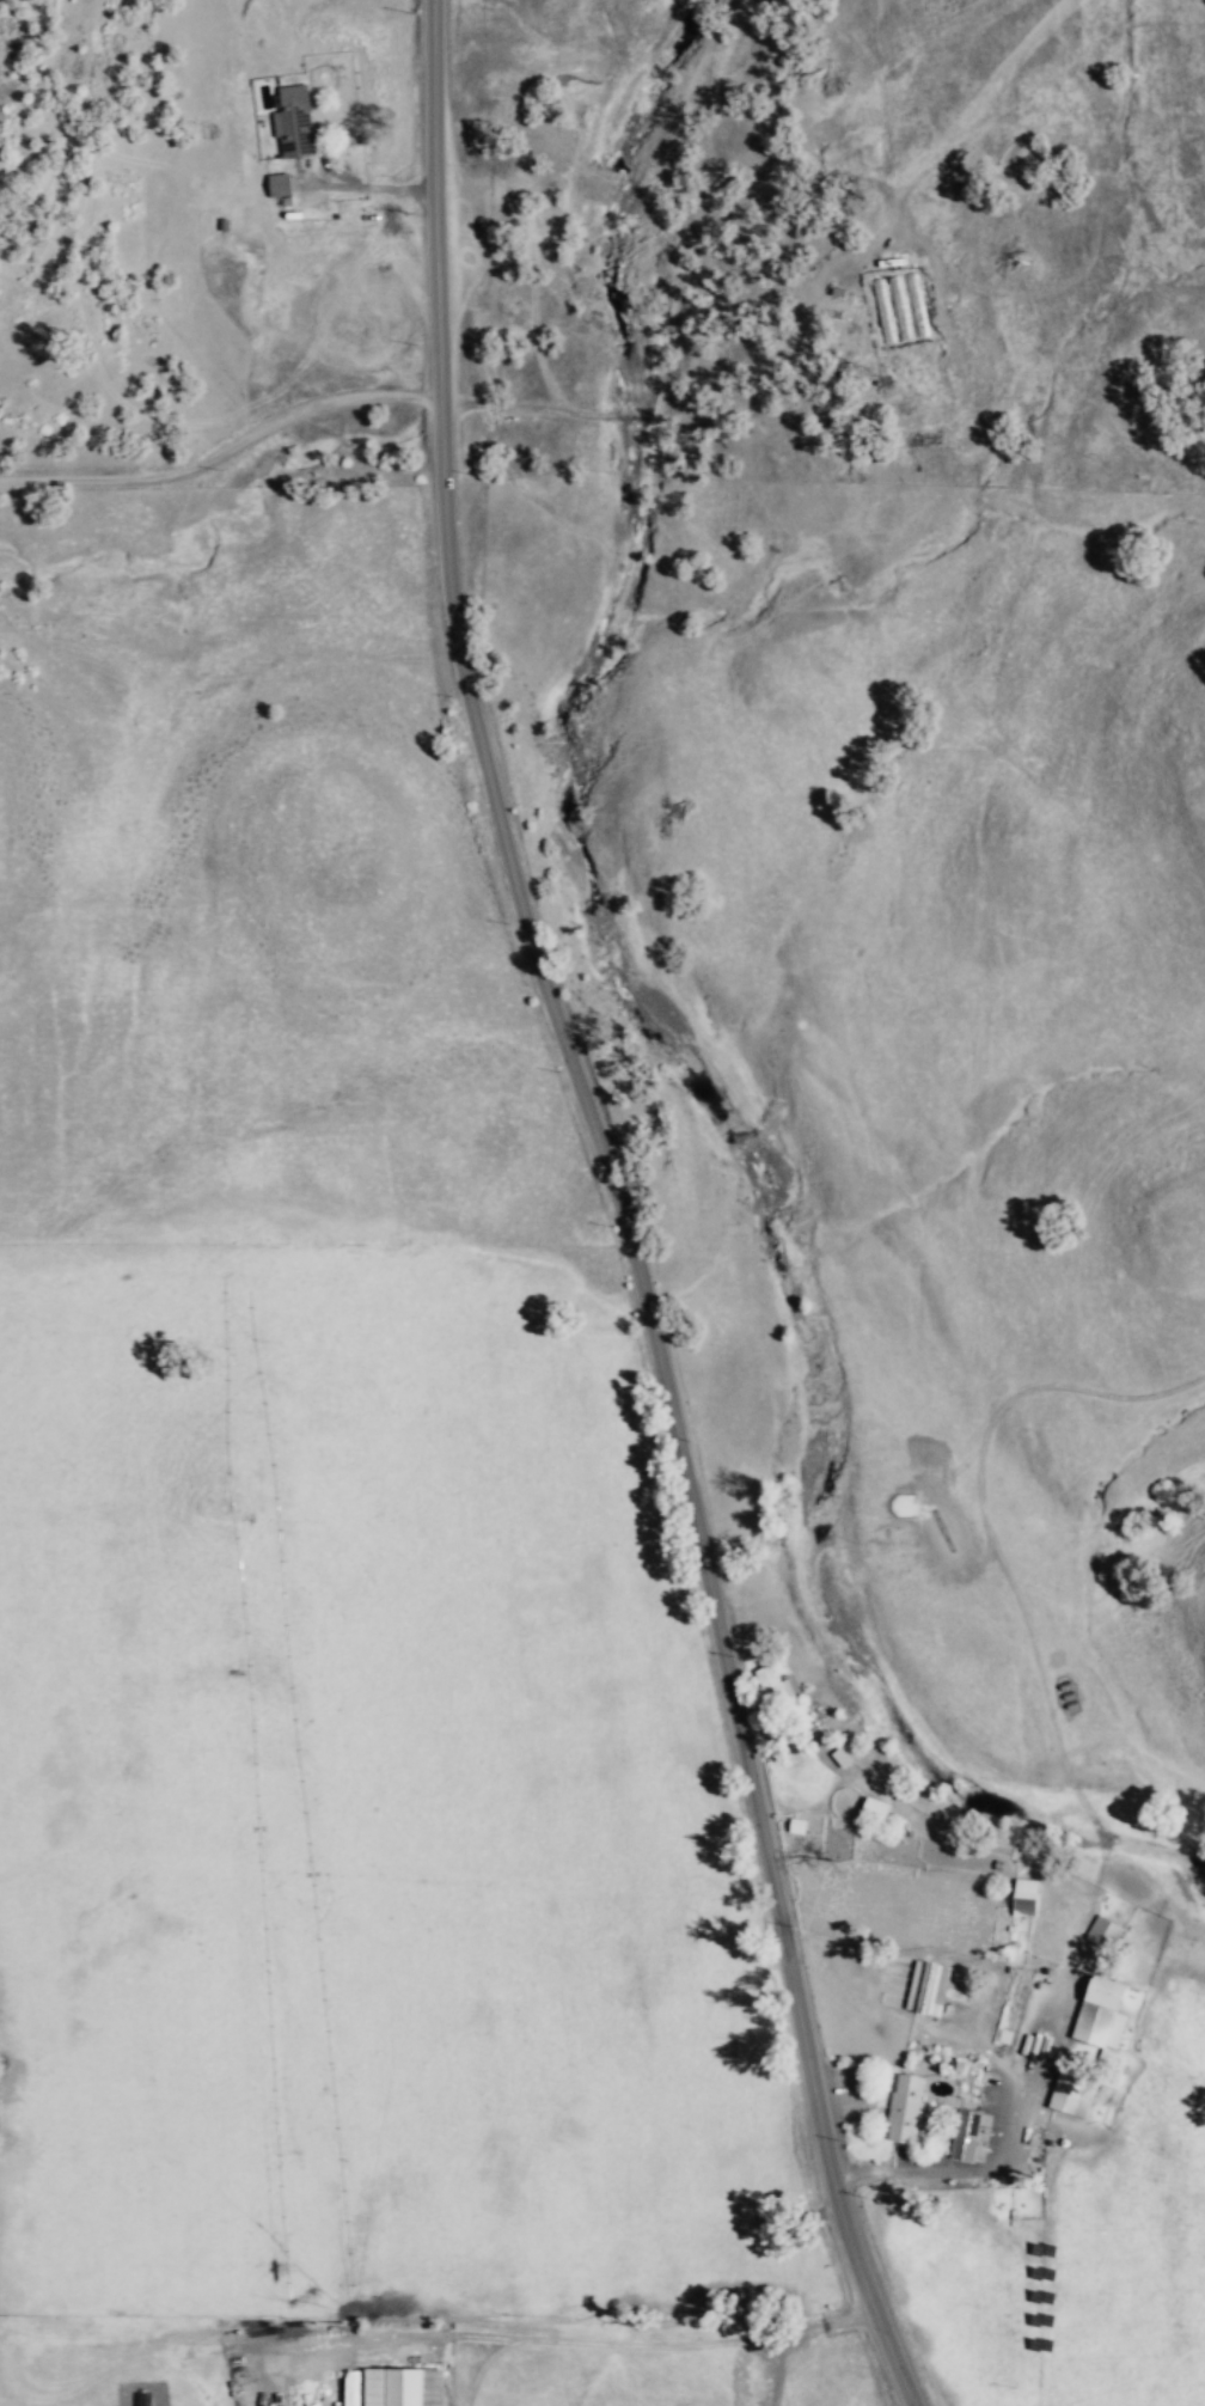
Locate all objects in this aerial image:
building: (295, 121)
building: (281, 183)
road: (520, 405)
river: (623, 452)
road: (225, 459)
road: (623, 1209)
building: (771, 1683)
building: (876, 1807)
building: (799, 1824)
building: (1026, 1895)
building: (1105, 1931)
building: (928, 1985)
building: (1102, 2010)
building: (1075, 2093)
building: (906, 2106)
building: (966, 2133)
road: (555, 2338)
road: (775, 2369)
building: (405, 2386)

